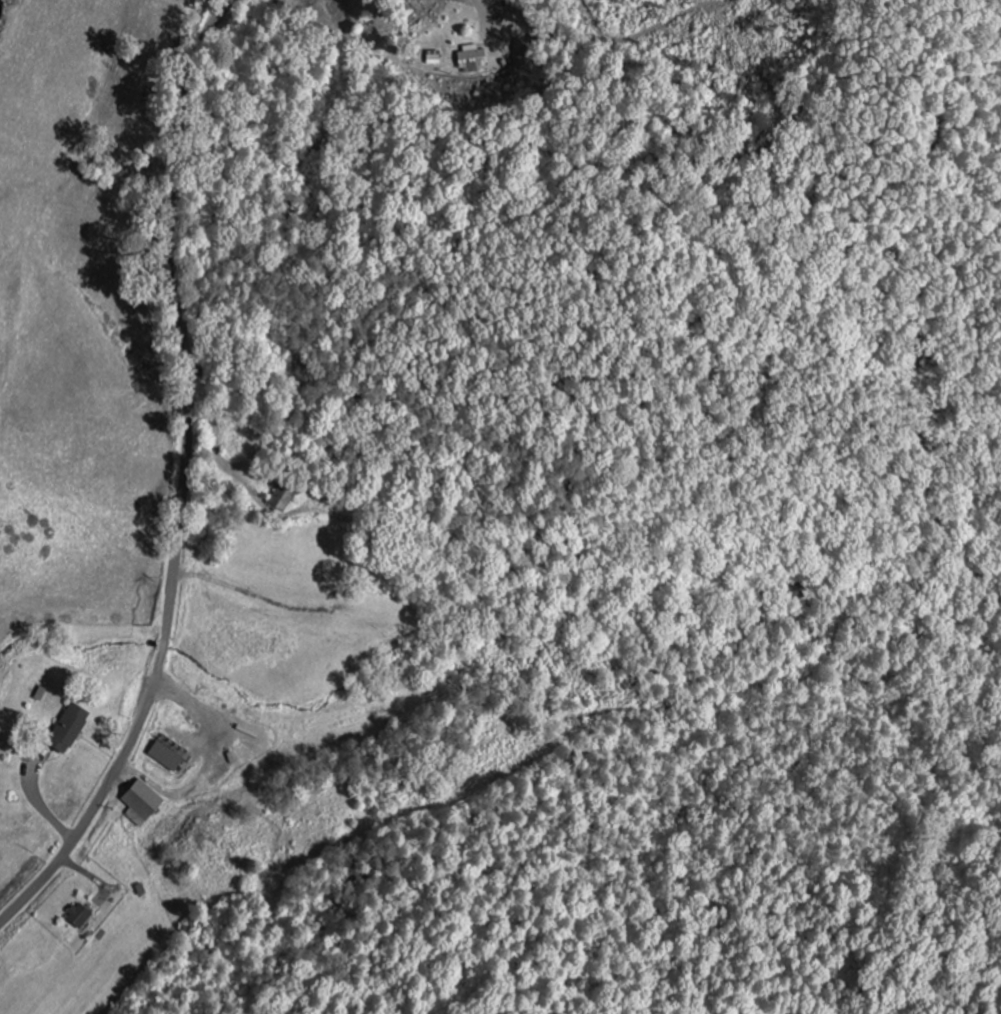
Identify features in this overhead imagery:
building: (474, 60)
road: (186, 478)
building: (283, 499)
building: (69, 729)
building: (166, 757)
building: (142, 803)
building: (80, 917)

